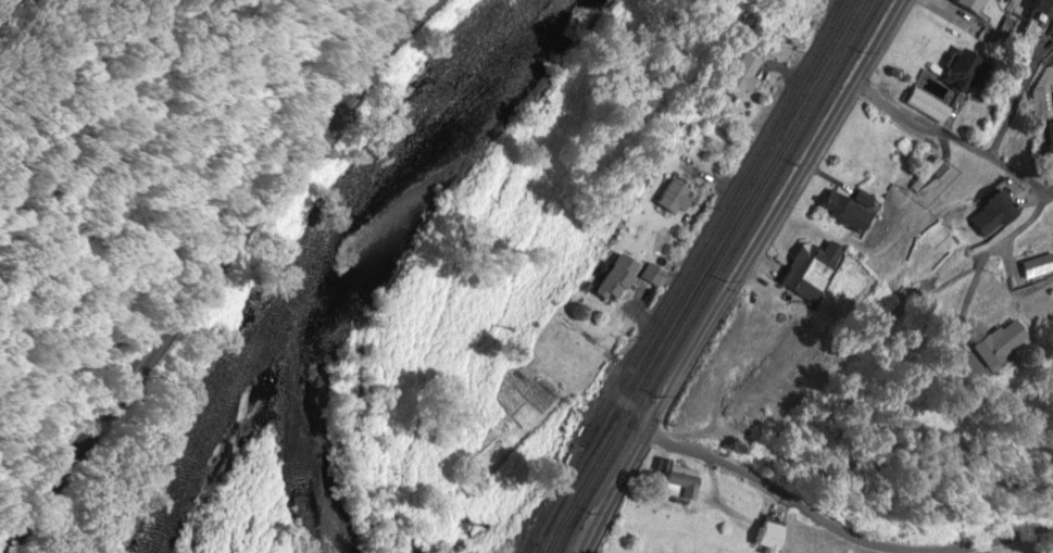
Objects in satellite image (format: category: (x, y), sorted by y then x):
building: (964, 5)
building: (954, 71)
building: (738, 77)
building: (925, 106)
road: (951, 135)
building: (1048, 148)
building: (667, 198)
building: (860, 199)
building: (844, 214)
building: (987, 215)
river: (324, 254)
road: (209, 269)
building: (1037, 269)
road: (735, 272)
building: (805, 273)
building: (610, 277)
railway: (704, 278)
building: (989, 344)
road: (616, 400)
river: (191, 440)
building: (673, 482)
building: (764, 537)

